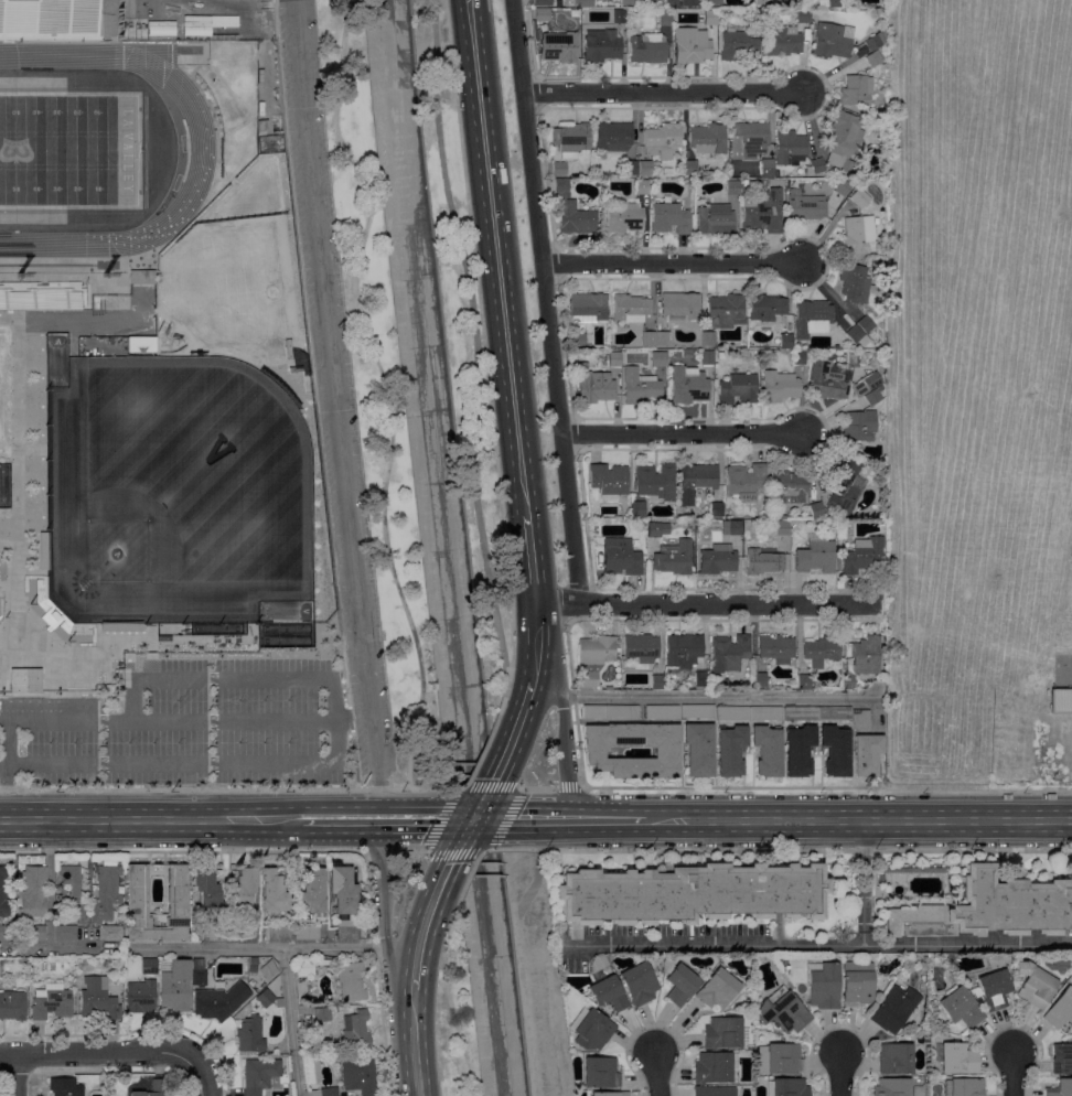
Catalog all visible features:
building: (544, 2)
building: (626, 2)
building: (671, 2)
building: (759, 2)
building: (585, 3)
building: (715, 3)
building: (834, 3)
building: (803, 15)
building: (619, 17)
building: (708, 17)
building: (665, 18)
building: (49, 20)
building: (539, 20)
building: (160, 28)
road: (529, 39)
building: (783, 41)
building: (830, 41)
building: (872, 43)
building: (601, 45)
building: (559, 46)
building: (692, 47)
building: (739, 47)
building: (647, 49)
building: (872, 58)
building: (857, 90)
road: (663, 93)
road: (536, 94)
building: (262, 126)
building: (843, 131)
building: (613, 136)
building: (707, 138)
building: (570, 139)
building: (662, 140)
track: (201, 143)
building: (751, 144)
building: (791, 149)
park: (68, 150)
building: (817, 165)
building: (845, 166)
building: (631, 168)
building: (644, 168)
building: (690, 168)
building: (559, 169)
building: (666, 172)
road: (545, 179)
building: (690, 182)
building: (759, 183)
building: (641, 186)
building: (732, 187)
building: (843, 187)
building: (859, 198)
building: (805, 207)
building: (571, 212)
building: (762, 212)
building: (623, 218)
building: (669, 218)
building: (715, 218)
building: (858, 234)
road: (497, 257)
building: (869, 261)
road: (674, 264)
building: (141, 277)
building: (855, 284)
building: (40, 296)
road: (545, 302)
building: (587, 307)
building: (679, 307)
building: (631, 309)
building: (768, 309)
building: (726, 310)
parking lot: (326, 316)
building: (812, 318)
building: (865, 323)
building: (856, 335)
building: (648, 339)
building: (662, 339)
building: (707, 339)
road: (472, 340)
building: (578, 340)
building: (784, 342)
building: (140, 344)
road: (565, 344)
park: (462, 347)
building: (707, 357)
building: (798, 357)
building: (614, 358)
building: (660, 359)
building: (753, 366)
building: (187, 377)
building: (827, 380)
building: (869, 382)
building: (687, 385)
building: (780, 386)
building: (641, 387)
building: (594, 388)
road: (385, 389)
building: (737, 389)
road: (313, 395)
building: (872, 396)
park: (377, 397)
road: (490, 398)
road: (335, 409)
building: (858, 427)
road: (683, 433)
building: (608, 480)
building: (696, 481)
building: (744, 481)
road: (17, 482)
building: (655, 482)
building: (843, 486)
building: (786, 487)
park: (172, 496)
building: (637, 509)
building: (716, 509)
building: (816, 509)
building: (781, 517)
building: (793, 525)
building: (782, 527)
building: (731, 528)
building: (657, 529)
building: (185, 531)
road: (529, 531)
building: (42, 550)
building: (815, 555)
building: (620, 557)
building: (862, 557)
building: (673, 558)
building: (717, 559)
building: (763, 560)
building: (839, 562)
road: (534, 577)
road: (671, 590)
road: (709, 604)
building: (56, 615)
building: (120, 626)
road: (106, 645)
building: (641, 647)
building: (776, 648)
building: (683, 651)
building: (822, 651)
building: (729, 653)
building: (864, 655)
building: (593, 657)
parking lot: (1063, 660)
building: (844, 664)
road: (1065, 676)
building: (23, 680)
building: (760, 680)
building: (657, 681)
building: (803, 681)
building: (848, 681)
building: (617, 683)
road: (107, 684)
road: (530, 687)
road: (717, 695)
building: (1060, 701)
building: (610, 710)
building: (662, 710)
building: (696, 710)
building: (731, 712)
building: (765, 712)
building: (801, 713)
building: (834, 713)
road: (710, 720)
building: (860, 720)
road: (185, 721)
parking lot: (184, 729)
road: (565, 737)
parking lot: (366, 744)
building: (665, 748)
building: (697, 748)
building: (767, 750)
building: (798, 750)
building: (835, 750)
building: (730, 751)
building: (866, 752)
road: (329, 763)
road: (569, 787)
road: (589, 787)
road: (537, 788)
road: (231, 789)
road: (461, 789)
road: (489, 793)
road: (462, 817)
road: (149, 818)
road: (307, 818)
road: (380, 818)
traffic signals: (476, 818)
road: (489, 818)
road: (573, 818)
road: (859, 819)
road: (464, 837)
road: (778, 849)
road: (409, 850)
road: (181, 851)
road: (376, 851)
building: (109, 880)
road: (49, 882)
road: (862, 882)
building: (244, 890)
building: (178, 891)
building: (207, 891)
building: (344, 891)
building: (33, 892)
building: (274, 893)
building: (313, 893)
building: (690, 893)
building: (879, 893)
building: (3, 894)
road: (458, 900)
building: (69, 902)
building: (989, 907)
road: (383, 915)
road: (425, 923)
building: (349, 928)
building: (4, 933)
building: (279, 933)
building: (307, 933)
building: (35, 934)
building: (213, 934)
building: (238, 934)
building: (114, 935)
road: (49, 946)
road: (819, 946)
road: (260, 949)
building: (254, 961)
building: (310, 966)
building: (149, 967)
building: (253, 969)
road: (525, 969)
building: (268, 970)
building: (199, 973)
road: (376, 973)
building: (351, 981)
building: (251, 984)
building: (639, 984)
building: (174, 985)
building: (680, 985)
building: (858, 985)
building: (1035, 985)
building: (824, 986)
building: (718, 989)
building: (995, 990)
building: (609, 993)
building: (141, 997)
building: (265, 998)
building: (98, 999)
building: (219, 1001)
building: (51, 1002)
building: (12, 1006)
building: (961, 1007)
building: (894, 1009)
building: (1060, 1009)
building: (783, 1011)
building: (321, 1014)
road: (291, 1022)
park: (453, 1023)
road: (455, 1025)
building: (590, 1029)
building: (355, 1031)
building: (722, 1033)
building: (250, 1035)
road: (412, 1044)
road: (95, 1053)
building: (780, 1059)
building: (896, 1059)
building: (957, 1059)
building: (1062, 1059)
building: (712, 1067)
building: (311, 1070)
building: (601, 1072)
road: (1014, 1073)
road: (656, 1074)
road: (839, 1074)
road: (14, 1075)
building: (260, 1075)
road: (200, 1076)
building: (360, 1076)
building: (65, 1087)
building: (787, 1087)
building: (891, 1087)
building: (963, 1087)
building: (1060, 1088)
building: (153, 1089)
building: (329, 1092)
building: (714, 1092)
building: (610, 1094)

